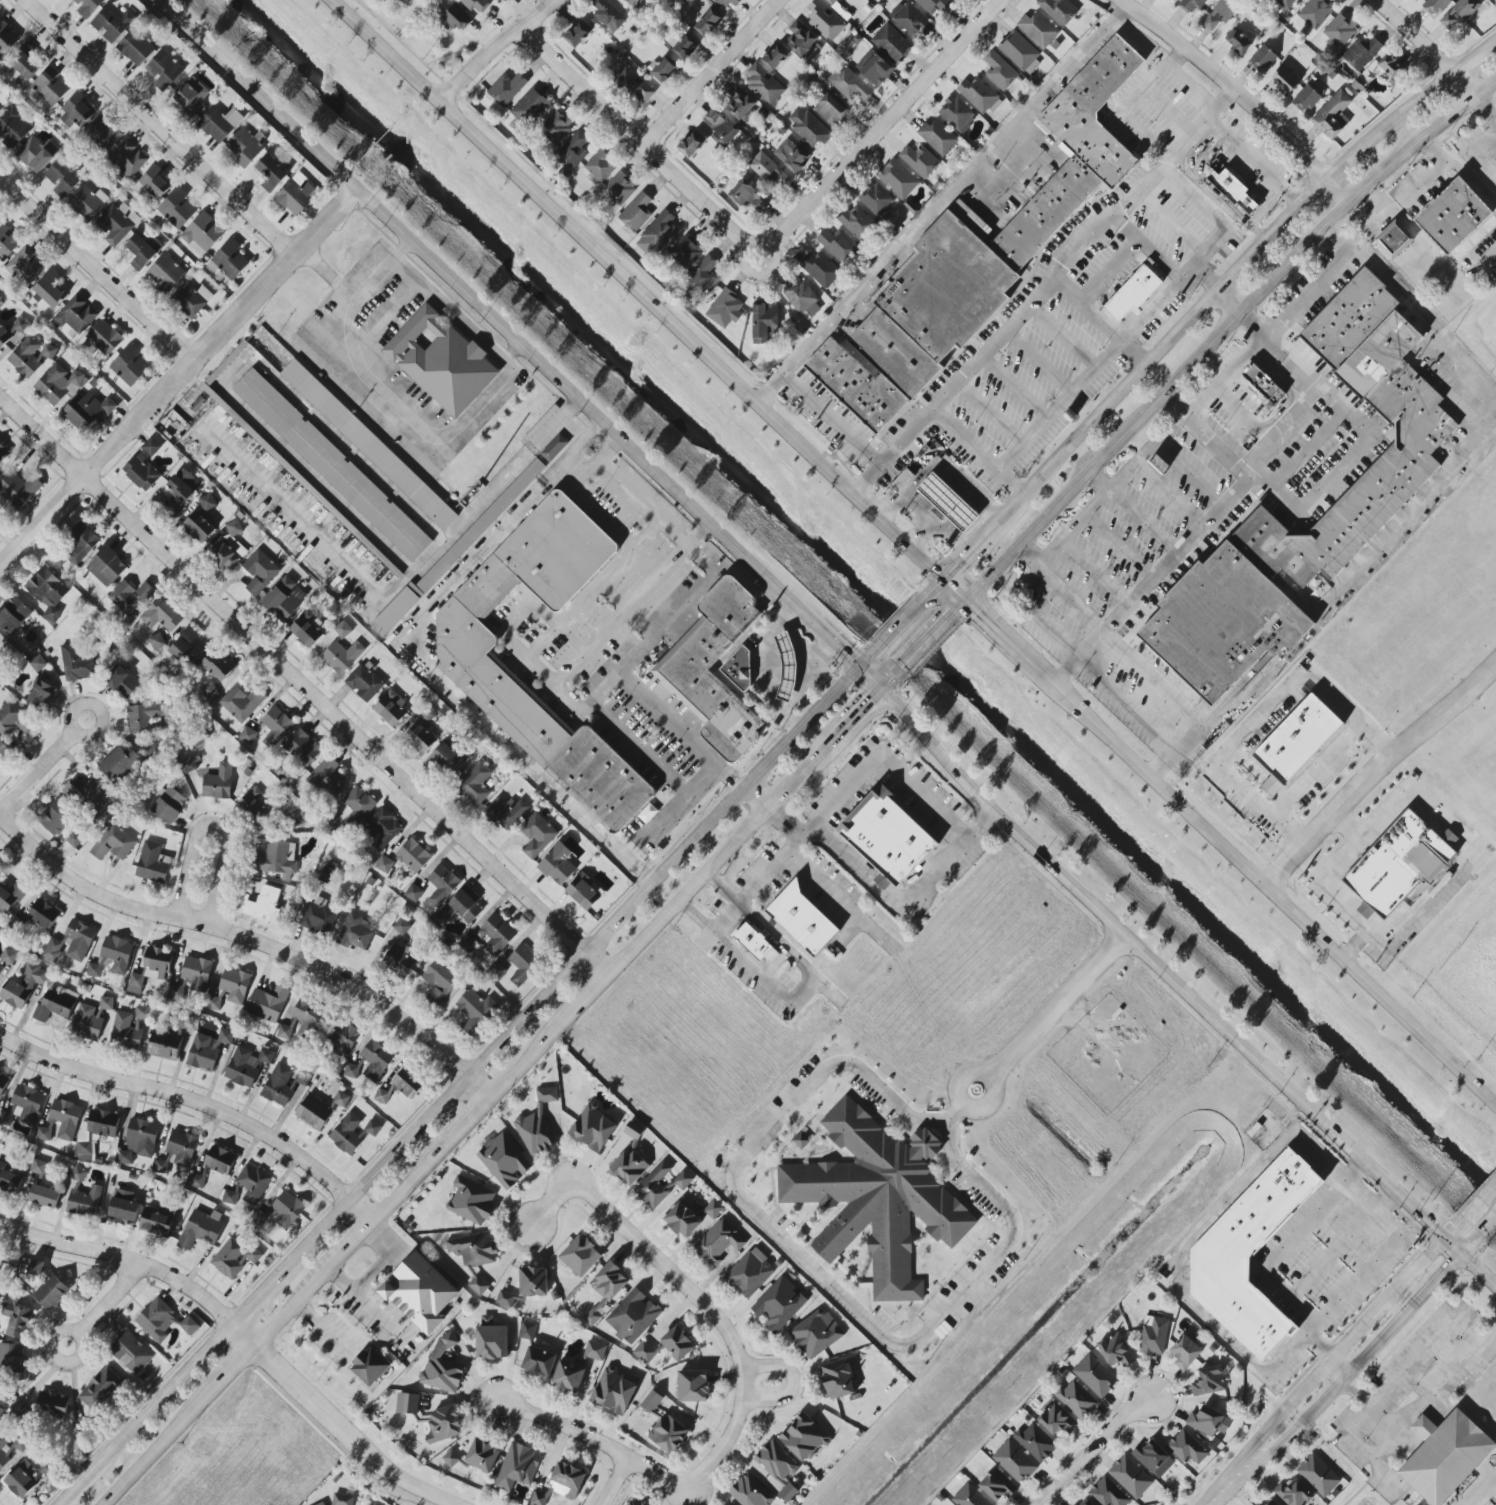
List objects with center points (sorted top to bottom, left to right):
building: (1416, 0)
building: (497, 1)
building: (631, 2)
building: (832, 2)
building: (1286, 3)
building: (726, 4)
building: (476, 5)
building: (935, 5)
building: (1190, 6)
building: (1434, 6)
building: (88, 7)
building: (1058, 10)
building: (1315, 13)
building: (1459, 13)
building: (1220, 14)
building: (607, 15)
building: (457, 18)
building: (825, 20)
building: (910, 21)
building: (112, 23)
building: (707, 23)
building: (1038, 30)
building: (1340, 30)
building: (578, 33)
building: (800, 38)
building: (1238, 41)
building: (8, 42)
building: (891, 43)
building: (686, 46)
road: (1423, 47)
building: (136, 48)
road: (502, 48)
building: (1020, 52)
building: (1362, 53)
building: (775, 57)
road: (1473, 57)
road: (1181, 58)
building: (1262, 59)
building: (25, 63)
building: (1391, 67)
building: (874, 68)
building: (662, 69)
building: (164, 70)
building: (999, 71)
road: (714, 72)
building: (1284, 80)
building: (763, 84)
road: (1189, 85)
building: (635, 86)
building: (851, 86)
road: (1140, 88)
building: (49, 89)
building: (507, 89)
road: (1242, 91)
building: (979, 96)
building: (192, 97)
building: (1305, 99)
building: (740, 104)
building: (530, 107)
road: (1484, 108)
building: (831, 110)
building: (75, 112)
building: (956, 114)
building: (1332, 116)
building: (219, 124)
road: (880, 125)
building: (14, 127)
building: (556, 127)
building: (808, 127)
road: (158, 128)
building: (722, 128)
building: (103, 134)
building: (938, 137)
road: (641, 139)
building: (691, 144)
building: (244, 148)
building: (572, 151)
building: (34, 155)
building: (791, 155)
road: (1479, 158)
building: (128, 159)
road: (1252, 160)
building: (919, 161)
building: (600, 166)
building: (768, 170)
road: (1174, 171)
building: (271, 173)
building: (62, 178)
building: (897, 179)
road: (1018, 180)
building: (153, 183)
building: (618, 190)
building: (1234, 192)
building: (296, 196)
building: (748, 197)
building: (876, 199)
road: (946, 201)
building: (88, 202)
building: (176, 209)
building: (636, 212)
building: (1452, 217)
building: (856, 222)
building: (117, 223)
building: (660, 230)
building: (202, 234)
building: (1394, 239)
building: (7, 241)
building: (837, 244)
road: (1148, 246)
building: (140, 252)
building: (685, 253)
building: (975, 259)
building: (228, 261)
building: (24, 267)
road: (97, 269)
road: (1109, 269)
building: (821, 270)
road: (758, 272)
building: (165, 274)
road: (1205, 274)
building: (702, 276)
road: (1047, 288)
building: (50, 289)
building: (1131, 292)
road: (357, 294)
road: (655, 295)
road: (475, 296)
building: (800, 296)
road: (1229, 297)
building: (191, 299)
building: (1, 300)
building: (725, 309)
road: (1411, 311)
building: (810, 312)
road: (1189, 313)
building: (76, 314)
road: (458, 317)
road: (1098, 321)
building: (764, 322)
building: (17, 328)
road: (1223, 328)
road: (1064, 335)
building: (2, 336)
building: (105, 338)
road: (1111, 348)
building: (30, 357)
building: (441, 361)
road: (1038, 362)
building: (129, 366)
road: (178, 376)
building: (58, 384)
building: (1263, 384)
road: (1015, 386)
road: (1175, 403)
building: (87, 412)
road: (991, 412)
road: (1185, 416)
road: (835, 417)
building: (1422, 436)
building: (369, 445)
building: (151, 447)
building: (554, 447)
road: (978, 450)
building: (3, 453)
building: (332, 465)
road: (940, 465)
road: (584, 470)
building: (141, 474)
road: (1101, 479)
building: (902, 481)
road: (500, 483)
building: (19, 489)
road: (1276, 489)
building: (180, 490)
building: (207, 502)
building: (948, 502)
road: (1414, 512)
road: (932, 526)
building: (198, 527)
building: (234, 527)
road: (652, 528)
road: (674, 531)
road: (921, 532)
building: (82, 543)
building: (228, 553)
building: (450, 556)
traffic signals: (958, 560)
building: (106, 567)
building: (259, 572)
road: (941, 579)
road: (648, 584)
building: (47, 592)
building: (130, 597)
building: (284, 599)
road: (961, 599)
traffic signals: (982, 609)
building: (14, 615)
building: (164, 617)
road: (512, 617)
road: (904, 619)
traffic signals: (944, 619)
building: (1223, 623)
road: (1000, 626)
building: (307, 628)
building: (342, 629)
road: (826, 631)
road: (922, 641)
building: (157, 642)
building: (184, 645)
building: (707, 645)
building: (4, 646)
traffic signals: (879, 649)
traffic signals: (848, 654)
building: (342, 656)
road: (868, 661)
road: (426, 662)
building: (466, 663)
building: (38, 664)
building: (76, 664)
road: (1088, 665)
building: (217, 666)
building: (787, 667)
building: (738, 669)
road: (871, 678)
building: (123, 682)
building: (365, 682)
road: (884, 683)
road: (304, 686)
building: (208, 691)
road: (1247, 693)
building: (40, 696)
road: (1337, 700)
traffic signals: (867, 702)
building: (241, 703)
building: (390, 709)
building: (427, 713)
road: (72, 718)
building: (145, 718)
building: (14, 720)
road: (849, 720)
building: (276, 726)
building: (247, 735)
road: (1241, 736)
building: (420, 738)
building: (1297, 739)
building: (302, 748)
building: (3, 752)
building: (448, 760)
road: (870, 761)
building: (119, 764)
road: (1315, 765)
building: (187, 766)
road: (1151, 768)
road: (1378, 770)
road: (38, 771)
building: (327, 777)
building: (218, 783)
building: (475, 783)
building: (89, 796)
building: (168, 804)
building: (357, 807)
building: (253, 809)
building: (506, 812)
building: (56, 818)
road: (1347, 825)
road: (215, 826)
building: (382, 829)
building: (536, 835)
building: (888, 837)
building: (75, 838)
building: (114, 843)
building: (413, 856)
building: (278, 859)
building: (0, 863)
building: (153, 863)
building: (384, 864)
building: (1398, 864)
building: (558, 865)
road: (765, 867)
building: (325, 872)
road: (821, 882)
building: (442, 885)
building: (583, 892)
building: (413, 893)
building: (11, 897)
road: (889, 897)
building: (264, 905)
building: (461, 907)
building: (43, 915)
building: (318, 917)
building: (801, 919)
building: (401, 927)
building: (351, 931)
building: (497, 934)
road: (254, 940)
building: (753, 942)
building: (71, 943)
building: (469, 943)
road: (1354, 945)
road: (1386, 948)
building: (8, 957)
building: (112, 957)
building: (401, 958)
building: (157, 964)
building: (523, 965)
road: (1159, 966)
road: (572, 972)
building: (193, 976)
building: (439, 981)
building: (135, 983)
building: (23, 986)
building: (231, 989)
road: (800, 992)
road: (1378, 992)
building: (268, 1004)
road: (1057, 1005)
building: (53, 1007)
building: (476, 1011)
building: (91, 1018)
building: (302, 1019)
building: (128, 1028)
building: (342, 1038)
building: (164, 1046)
road: (537, 1049)
building: (207, 1050)
building: (370, 1063)
building: (246, 1066)
building: (3, 1083)
building: (284, 1083)
building: (400, 1086)
road: (957, 1091)
building: (341, 1099)
road: (199, 1105)
building: (23, 1106)
building: (314, 1113)
building: (61, 1121)
building: (103, 1123)
building: (537, 1125)
building: (593, 1129)
building: (352, 1133)
building: (802, 1140)
building: (139, 1141)
building: (84, 1146)
building: (178, 1151)
building: (630, 1159)
building: (220, 1160)
building: (504, 1161)
building: (38, 1168)
building: (78, 1174)
building: (9, 1180)
building: (683, 1180)
building: (196, 1182)
building: (253, 1184)
building: (654, 1186)
building: (44, 1196)
road: (1362, 1196)
building: (229, 1198)
building: (877, 1198)
building: (471, 1201)
building: (85, 1203)
road: (1477, 1203)
building: (124, 1207)
building: (713, 1209)
building: (286, 1210)
building: (683, 1220)
building: (156, 1223)
road: (1485, 1228)
building: (201, 1229)
road: (1451, 1232)
building: (719, 1242)
road: (1452, 1247)
road: (1467, 1247)
building: (474, 1248)
building: (1249, 1255)
building: (581, 1256)
building: (234, 1258)
road: (1375, 1260)
road: (1268, 1261)
road: (1478, 1272)
building: (750, 1274)
road: (821, 1275)
building: (533, 1281)
building: (609, 1282)
building: (478, 1285)
building: (48, 1287)
building: (420, 1293)
road: (697, 1298)
building: (505, 1299)
road: (108, 1301)
road: (260, 1301)
building: (779, 1305)
building: (633, 1316)
building: (593, 1318)
building: (156, 1320)
building: (18, 1321)
building: (189, 1326)
building: (527, 1331)
road: (243, 1332)
building: (815, 1334)
building: (1153, 1335)
building: (491, 1341)
building: (677, 1343)
road: (80, 1345)
building: (595, 1351)
building: (1115, 1351)
building: (645, 1352)
building: (1185, 1352)
building: (132, 1354)
building: (12, 1358)
building: (539, 1361)
building: (442, 1366)
building: (369, 1367)
road: (232, 1369)
road: (1308, 1370)
road: (1323, 1371)
building: (1094, 1376)
building: (568, 1377)
building: (837, 1379)
building: (1210, 1381)
road: (1339, 1382)
road: (794, 1385)
building: (693, 1386)
building: (101, 1389)
building: (613, 1392)
building: (1077, 1400)
building: (651, 1402)
building: (407, 1403)
building: (53, 1404)
road: (1420, 1406)
building: (19, 1409)
road: (155, 1411)
building: (1, 1414)
building: (1058, 1420)
building: (87, 1422)
building: (1208, 1422)
building: (443, 1425)
building: (668, 1434)
building: (804, 1437)
road: (595, 1441)
building: (1036, 1442)
building: (10, 1447)
building: (1187, 1448)
road: (157, 1449)
road: (1095, 1449)
building: (482, 1456)
building: (451, 1458)
building: (1446, 1458)
building: (1153, 1459)
building: (776, 1462)
building: (1014, 1462)
building: (518, 1467)
building: (1318, 1475)
building: (1130, 1477)
building: (26, 1478)
road: (615, 1482)
building: (561, 1484)
building: (997, 1486)
building: (750, 1492)
building: (787, 1493)
building: (1108, 1493)
building: (1292, 1494)
building: (970, 1497)
building: (342, 1499)
road: (70, 1501)
building: (1084, 1502)
building: (632, 1503)
building: (1271, 1503)
building: (322, 1504)
building: (1258, 1504)
building: (1495, 1504)

